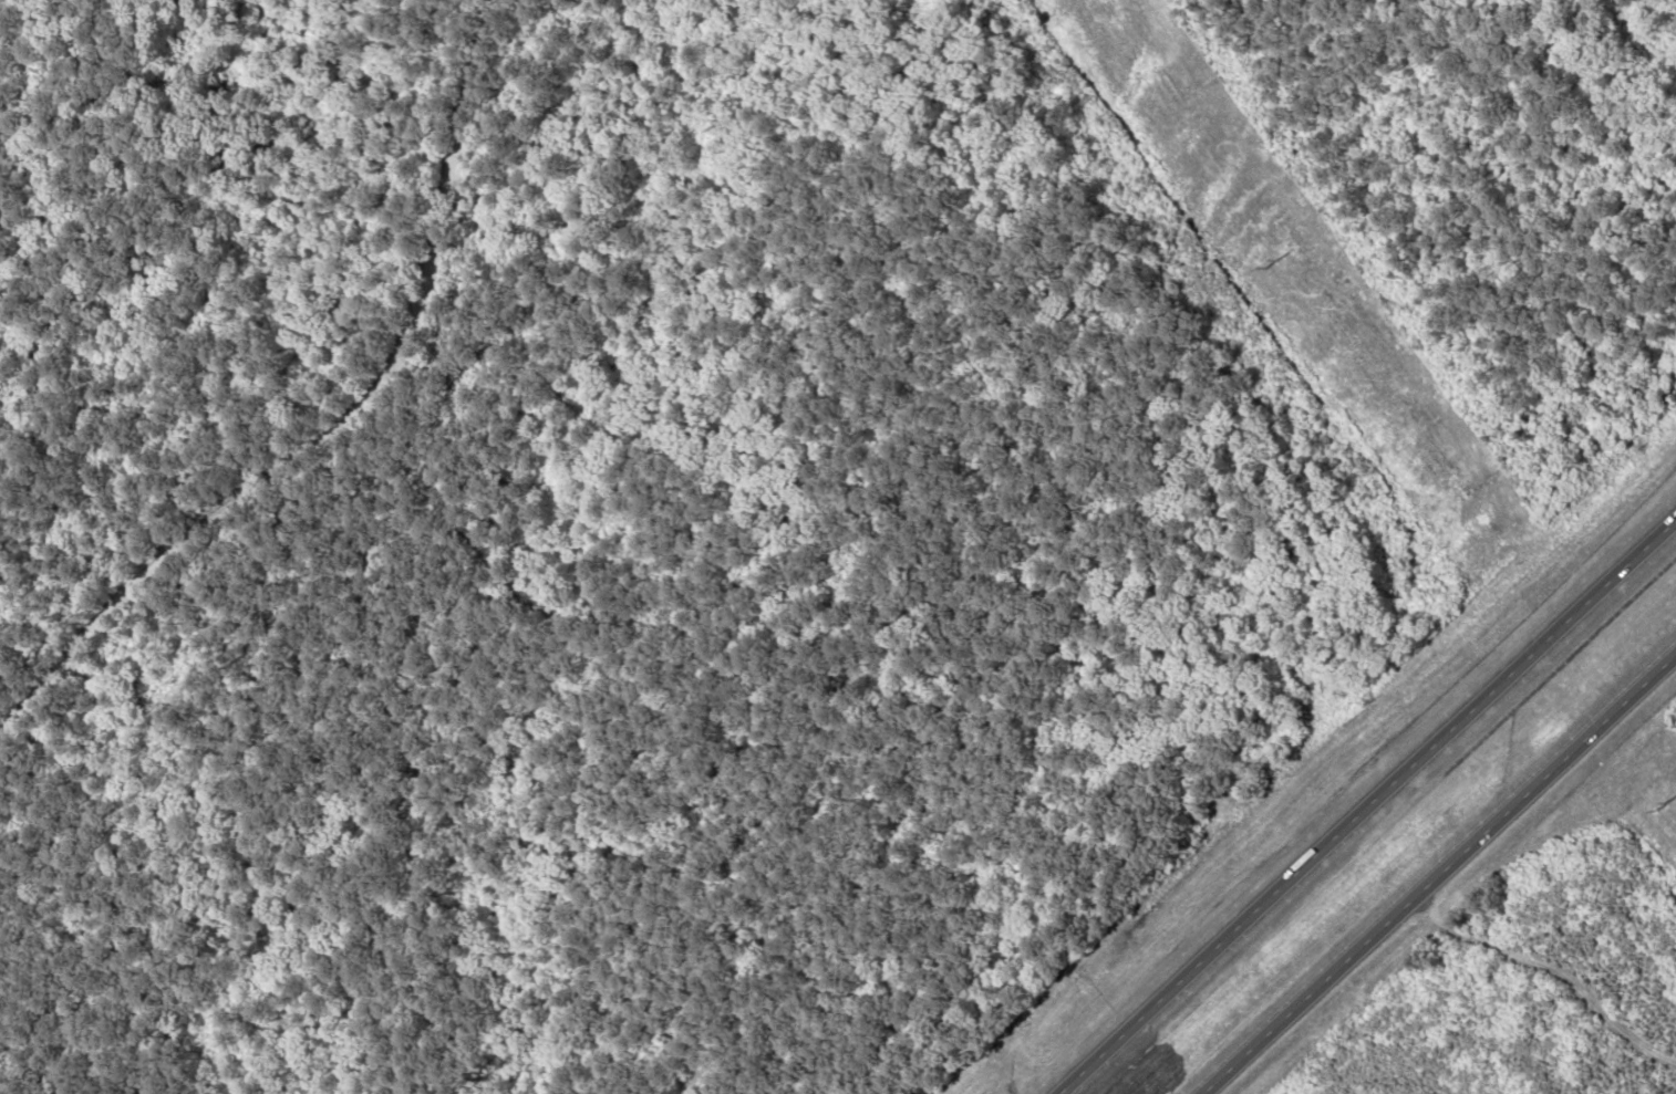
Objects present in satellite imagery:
road: (355, 454)
road: (1367, 809)
road: (1440, 876)

